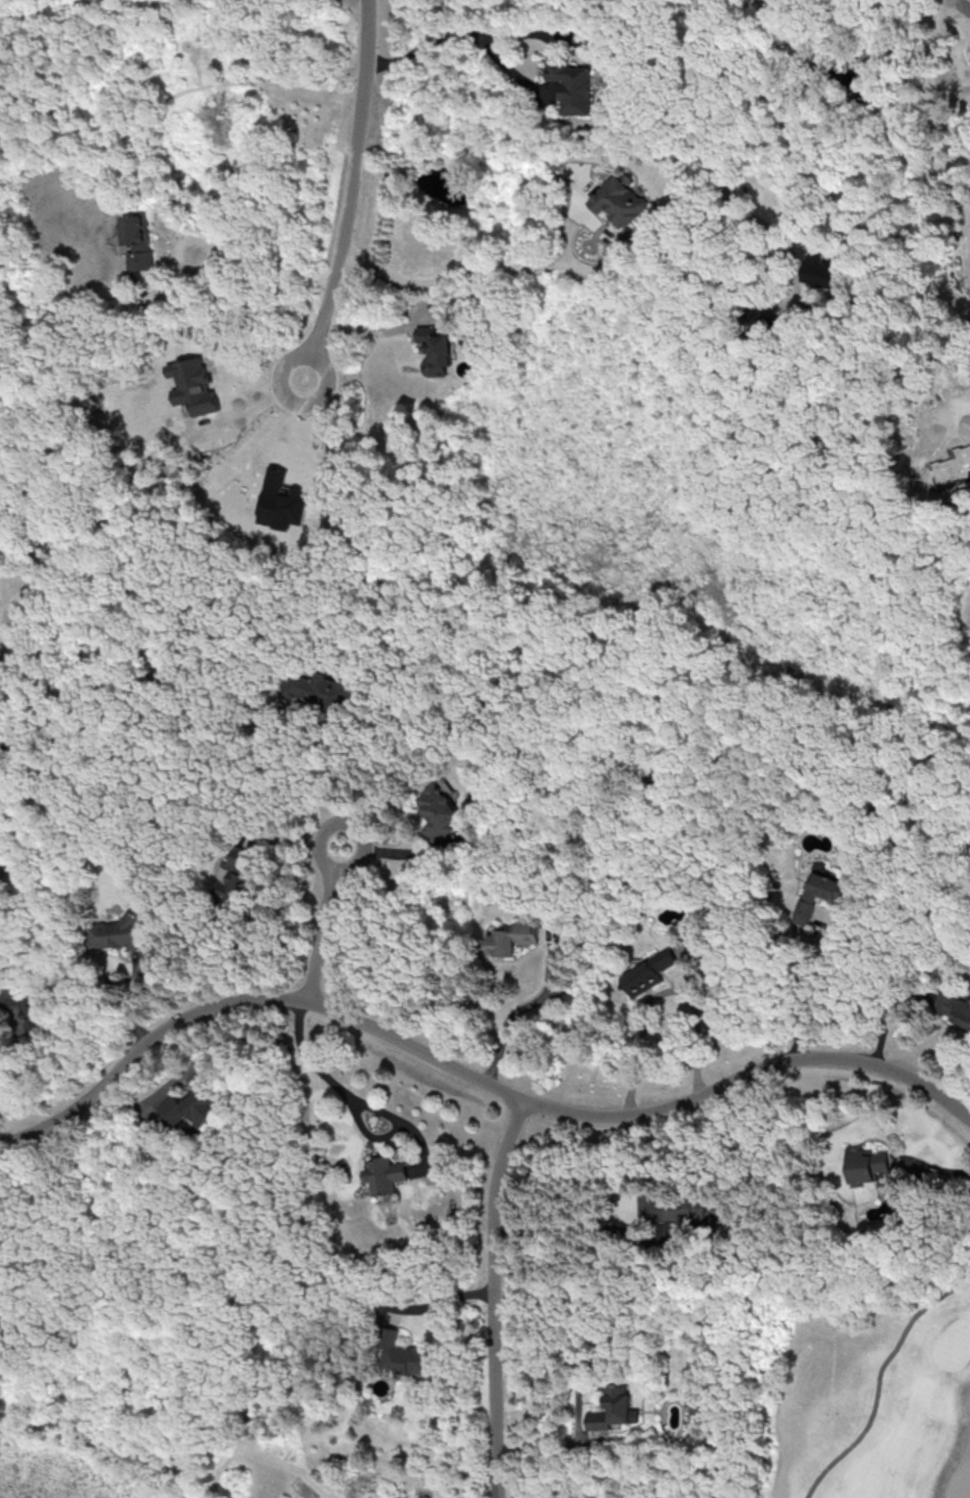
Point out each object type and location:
road: (458, 34)
road: (700, 43)
building: (571, 85)
road: (933, 111)
road: (355, 192)
building: (618, 200)
building: (137, 239)
road: (215, 246)
building: (820, 270)
road: (446, 276)
road: (737, 287)
building: (433, 350)
building: (192, 385)
building: (280, 500)
building: (319, 691)
road: (313, 784)
building: (436, 812)
road: (399, 853)
building: (232, 875)
building: (819, 890)
road: (325, 924)
building: (118, 932)
building: (510, 938)
building: (647, 973)
road: (661, 991)
road: (798, 1002)
building: (25, 1006)
building: (953, 1008)
road: (512, 1011)
road: (313, 1073)
road: (13, 1075)
road: (472, 1077)
building: (190, 1106)
building: (864, 1164)
road: (937, 1169)
building: (384, 1174)
building: (670, 1208)
road: (490, 1298)
road: (437, 1302)
building: (405, 1355)
road: (877, 1380)
park: (857, 1387)
building: (613, 1409)

